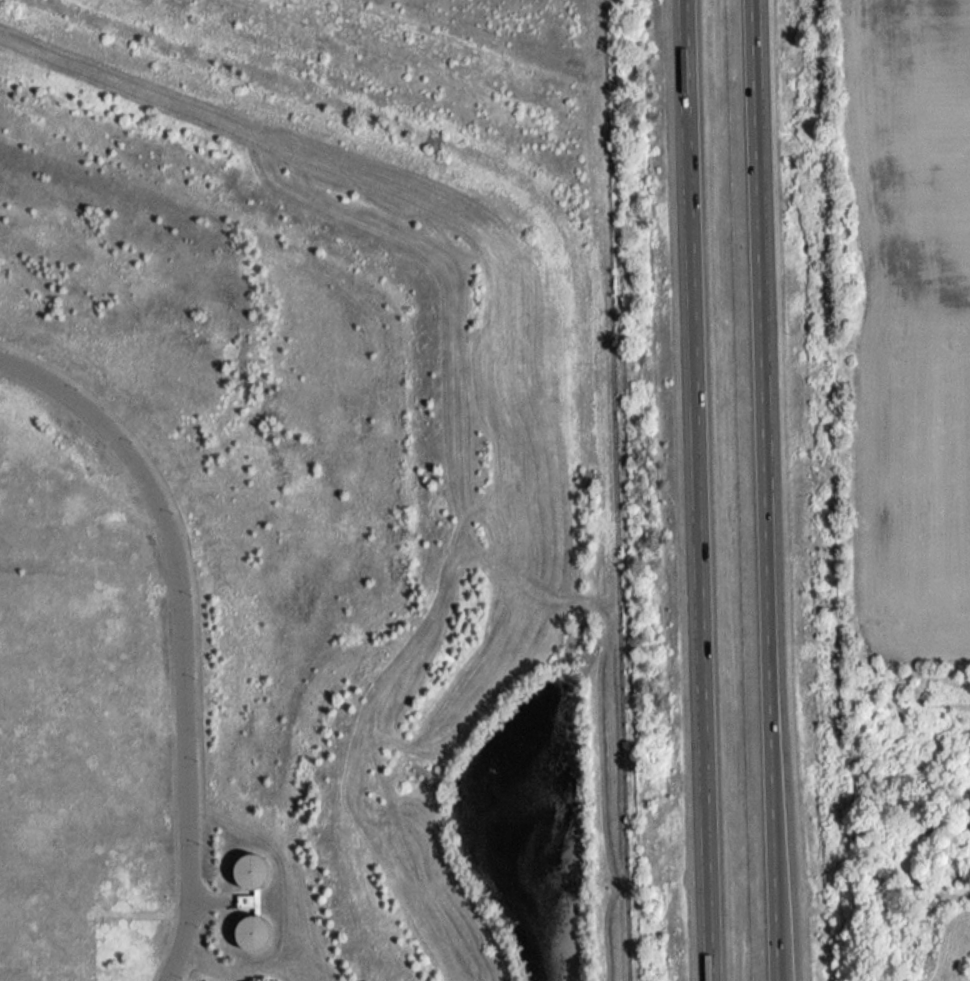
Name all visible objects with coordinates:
road: (53, 384)
road: (698, 490)
road: (763, 490)
road: (183, 692)
building: (251, 870)
road: (208, 901)
building: (253, 923)

